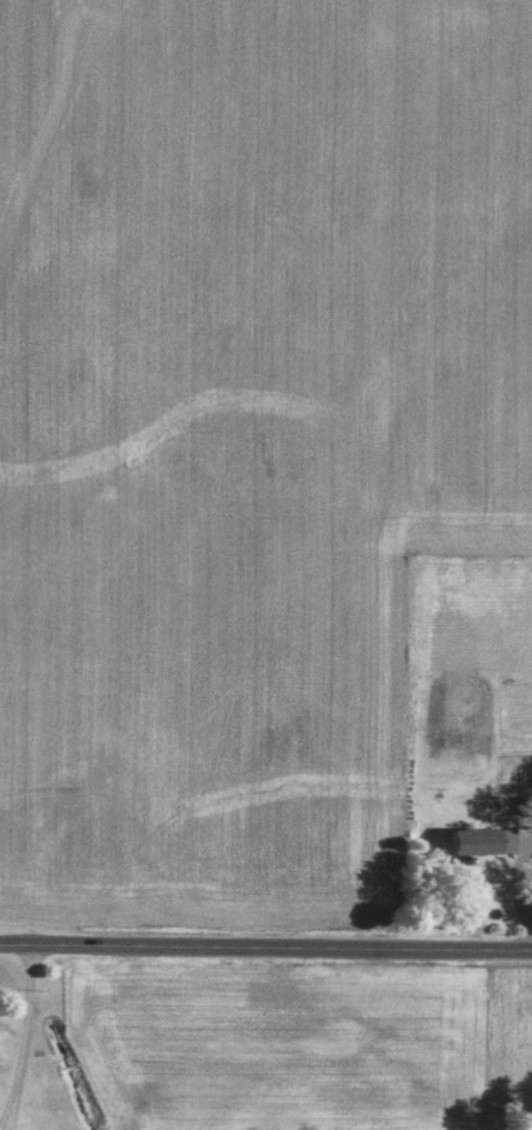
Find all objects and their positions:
building: (476, 840)
road: (265, 951)
road: (30, 1042)

